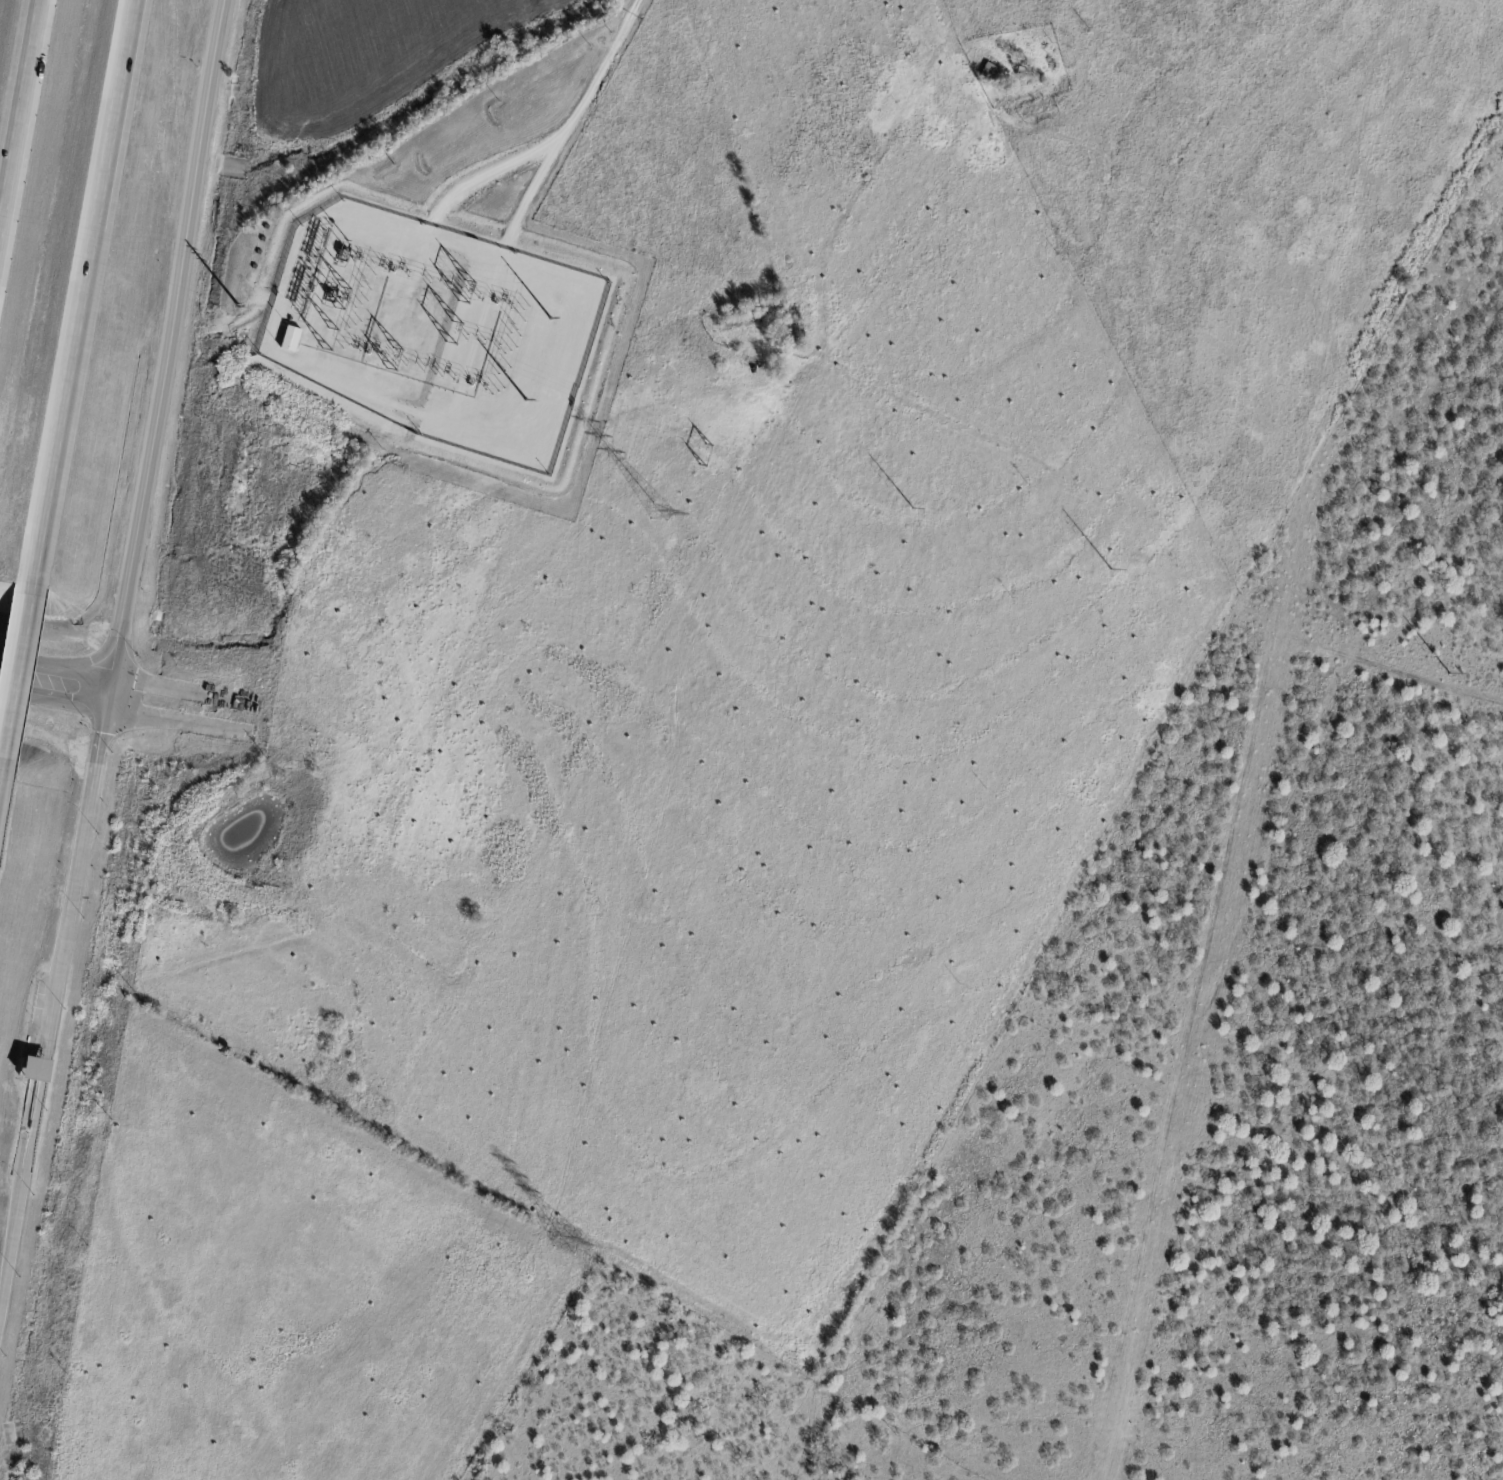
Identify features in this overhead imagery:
building: (991, 72)
road: (21, 113)
road: (88, 284)
power tower: (548, 319)
building: (744, 321)
building: (792, 327)
power substation: (434, 331)
building: (292, 341)
road: (167, 347)
power tower: (524, 400)
power tower: (706, 456)
power tower: (913, 510)
power tower: (659, 514)
power tower: (1111, 570)
road: (18, 669)
power tower: (1446, 673)
road: (5, 676)
road: (61, 687)
road: (102, 742)
road: (83, 847)
road: (65, 946)
road: (52, 1023)
building: (36, 1068)
road: (44, 1070)
road: (21, 1197)
power tower: (564, 1242)

